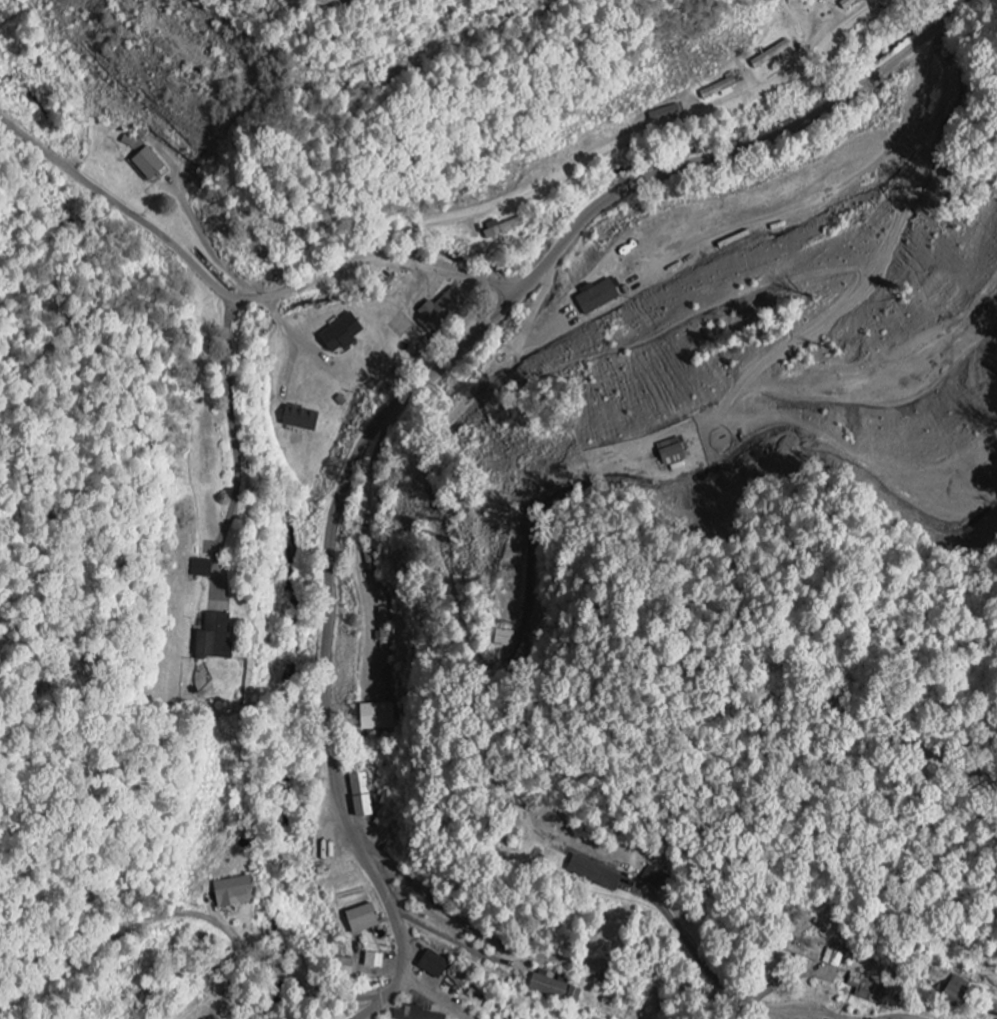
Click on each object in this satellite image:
building: (850, 5)
building: (769, 56)
building: (718, 90)
road: (630, 139)
building: (146, 164)
building: (501, 228)
road: (239, 296)
building: (595, 297)
building: (439, 308)
building: (338, 335)
road: (415, 391)
building: (298, 419)
road: (230, 422)
building: (668, 453)
building: (374, 566)
building: (200, 569)
building: (382, 590)
building: (212, 639)
building: (508, 639)
building: (360, 796)
building: (592, 874)
building: (651, 879)
building: (231, 894)
road: (189, 915)
building: (359, 920)
road: (435, 935)
building: (802, 956)
road: (581, 960)
building: (833, 960)
building: (371, 962)
building: (432, 966)
building: (345, 968)
building: (867, 990)
building: (954, 990)
building: (553, 991)
road: (436, 995)
building: (985, 997)
building: (412, 1014)
road: (901, 1018)

